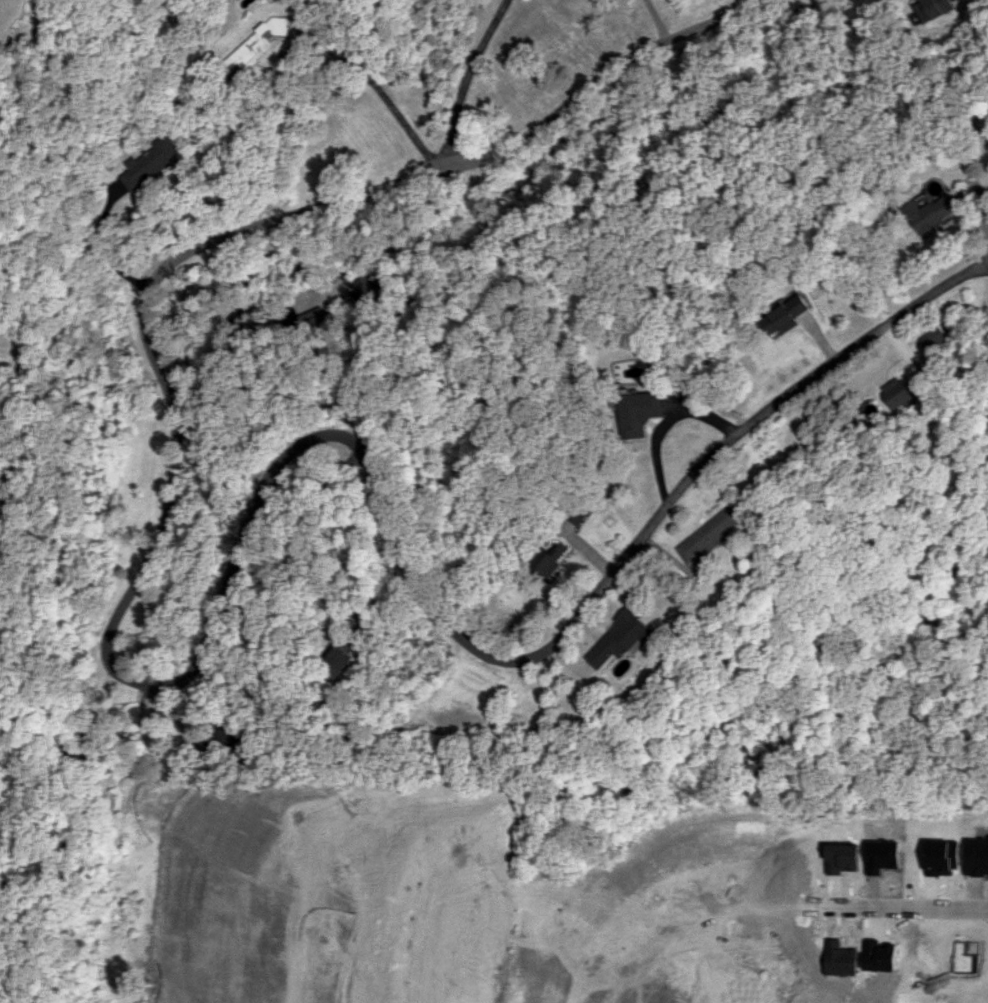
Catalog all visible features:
building: (931, 8)
road: (656, 19)
building: (256, 42)
road: (467, 81)
road: (381, 92)
building: (151, 162)
building: (929, 212)
road: (103, 250)
building: (365, 290)
building: (784, 315)
road: (224, 322)
building: (933, 339)
building: (896, 392)
building: (638, 412)
road: (663, 425)
building: (709, 533)
road: (327, 534)
building: (548, 558)
building: (621, 637)
road: (196, 650)
building: (335, 662)
building: (224, 734)
road: (785, 908)

